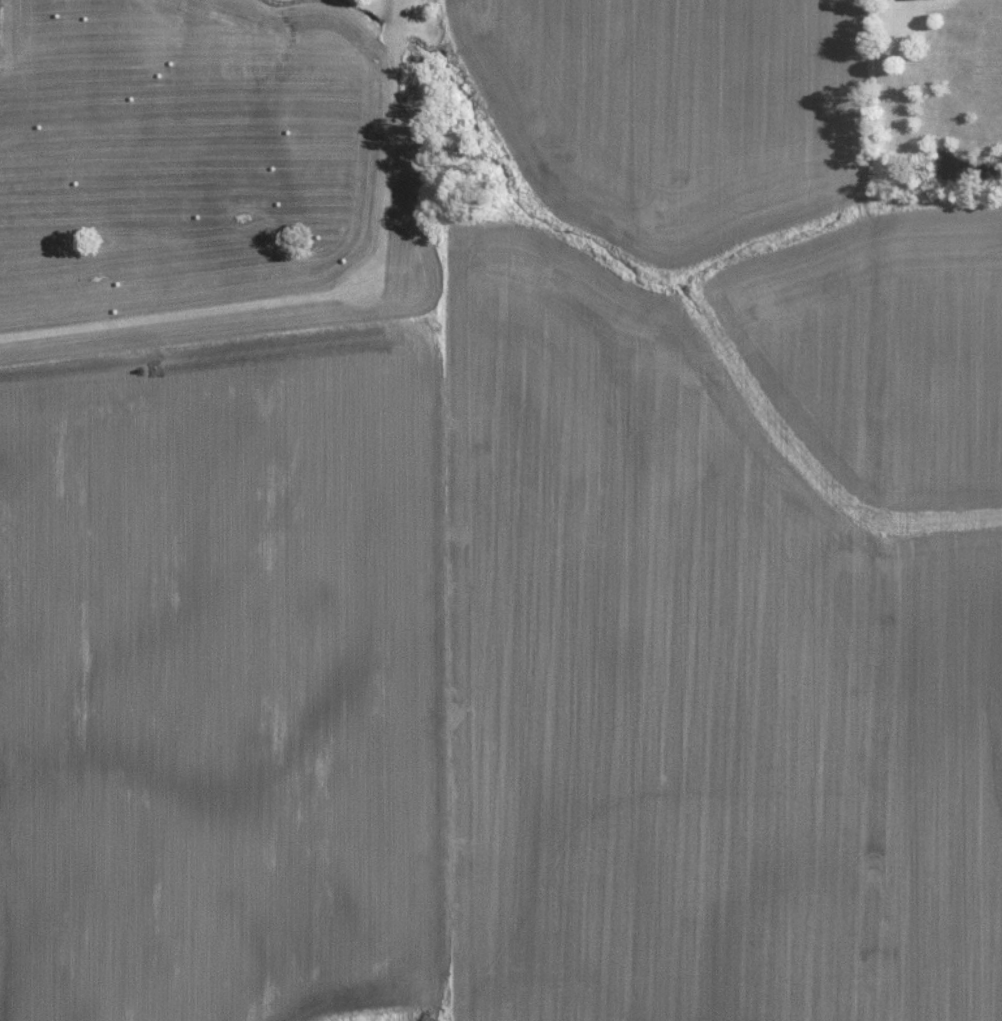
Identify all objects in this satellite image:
airport: (407, 132)
airport taxiway: (390, 148)
airport runway: (180, 311)

